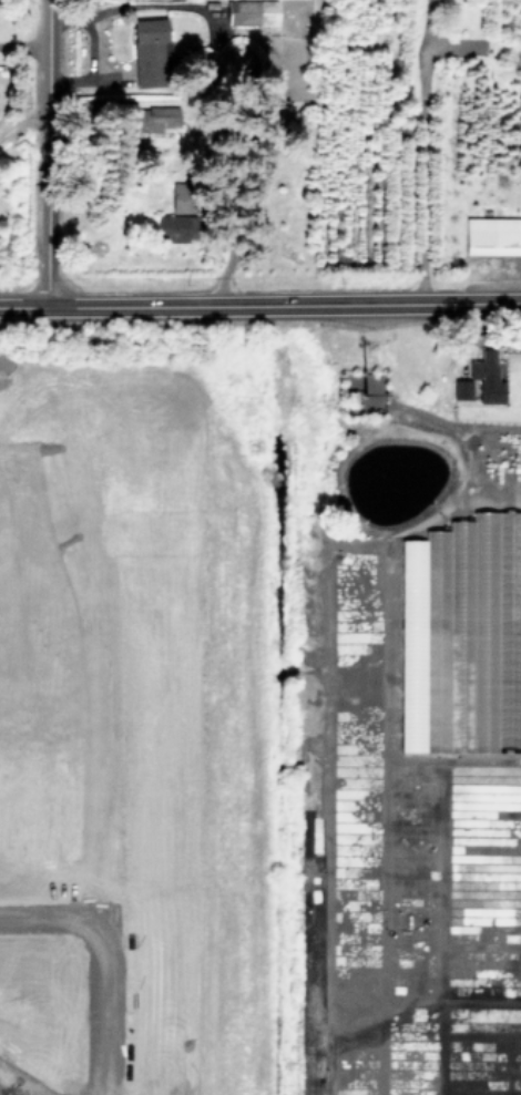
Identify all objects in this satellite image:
road: (105, 3)
building: (251, 12)
road: (23, 44)
building: (151, 52)
building: (140, 115)
building: (161, 117)
road: (21, 123)
road: (45, 153)
road: (425, 157)
building: (182, 197)
building: (174, 227)
building: (492, 235)
road: (260, 306)
building: (487, 377)
building: (461, 388)
building: (471, 536)
crop: (142, 704)
road: (106, 725)
road: (53, 726)
road: (52, 914)

